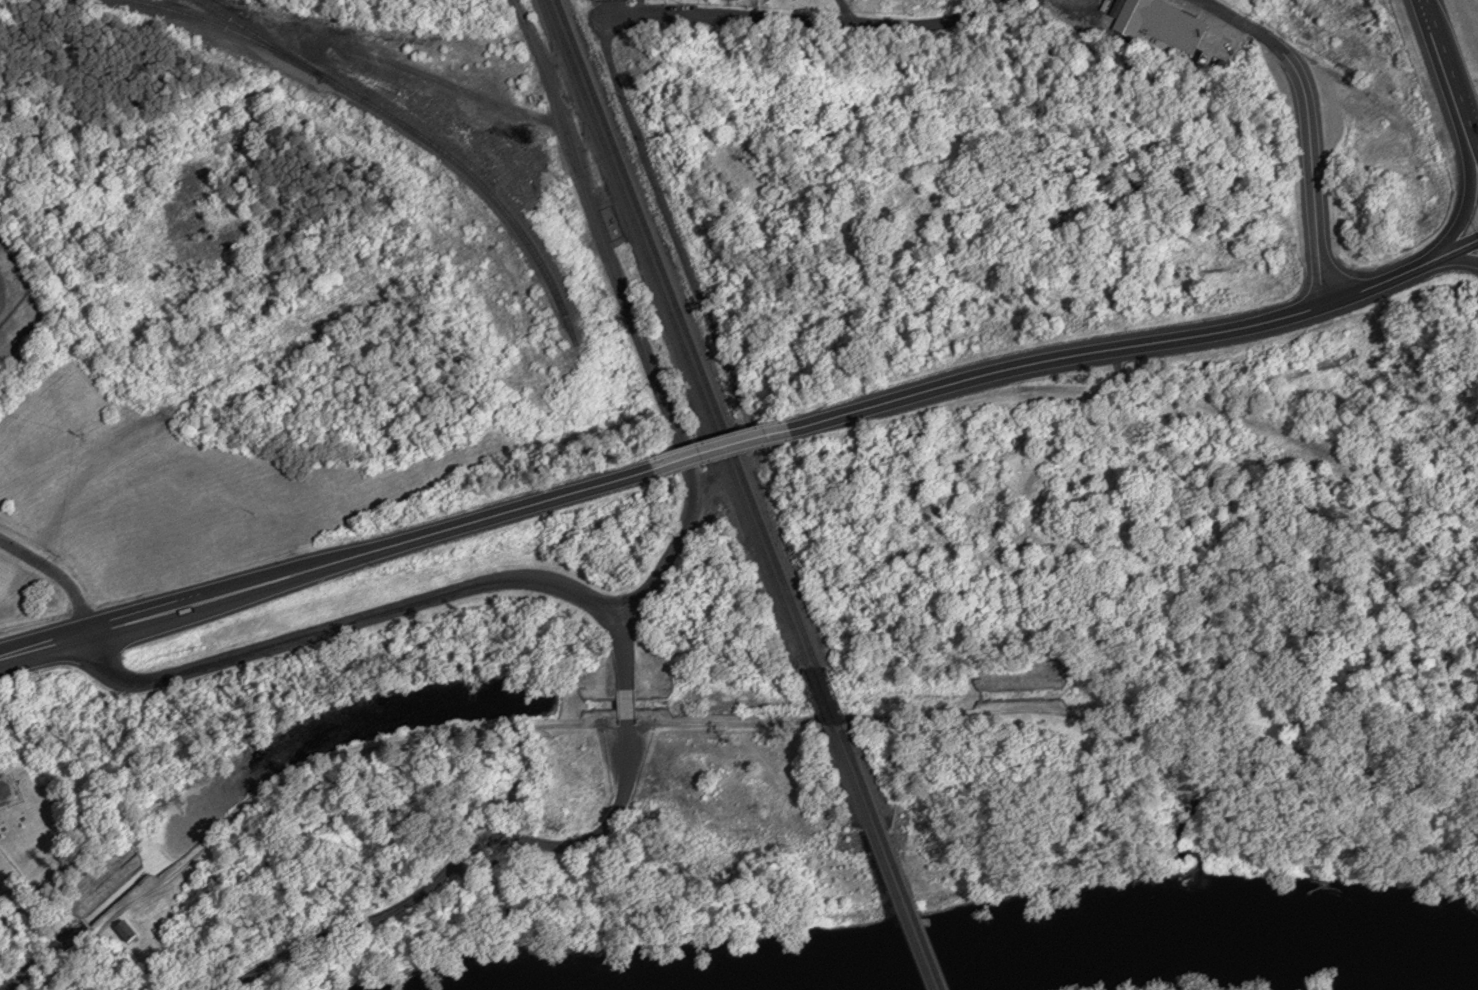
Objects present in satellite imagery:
railway: (285, 16)
road: (801, 19)
building: (1157, 23)
railway: (326, 28)
railway: (574, 54)
road: (1453, 70)
railway: (919, 90)
railway: (232, 102)
road: (1308, 125)
road: (1473, 187)
road: (669, 222)
road: (1457, 260)
road: (633, 318)
railway: (678, 334)
railway: (689, 334)
road: (1140, 345)
road: (726, 449)
railway: (298, 457)
road: (327, 564)
road: (383, 612)
railway: (831, 696)
railway: (820, 697)
road: (626, 703)
road: (870, 718)
parking lot: (626, 750)
railway: (859, 769)
railway: (849, 771)
road: (256, 798)
road: (465, 855)
road: (145, 894)
railway: (910, 901)
railway: (900, 902)
building: (125, 932)
river: (1063, 962)

